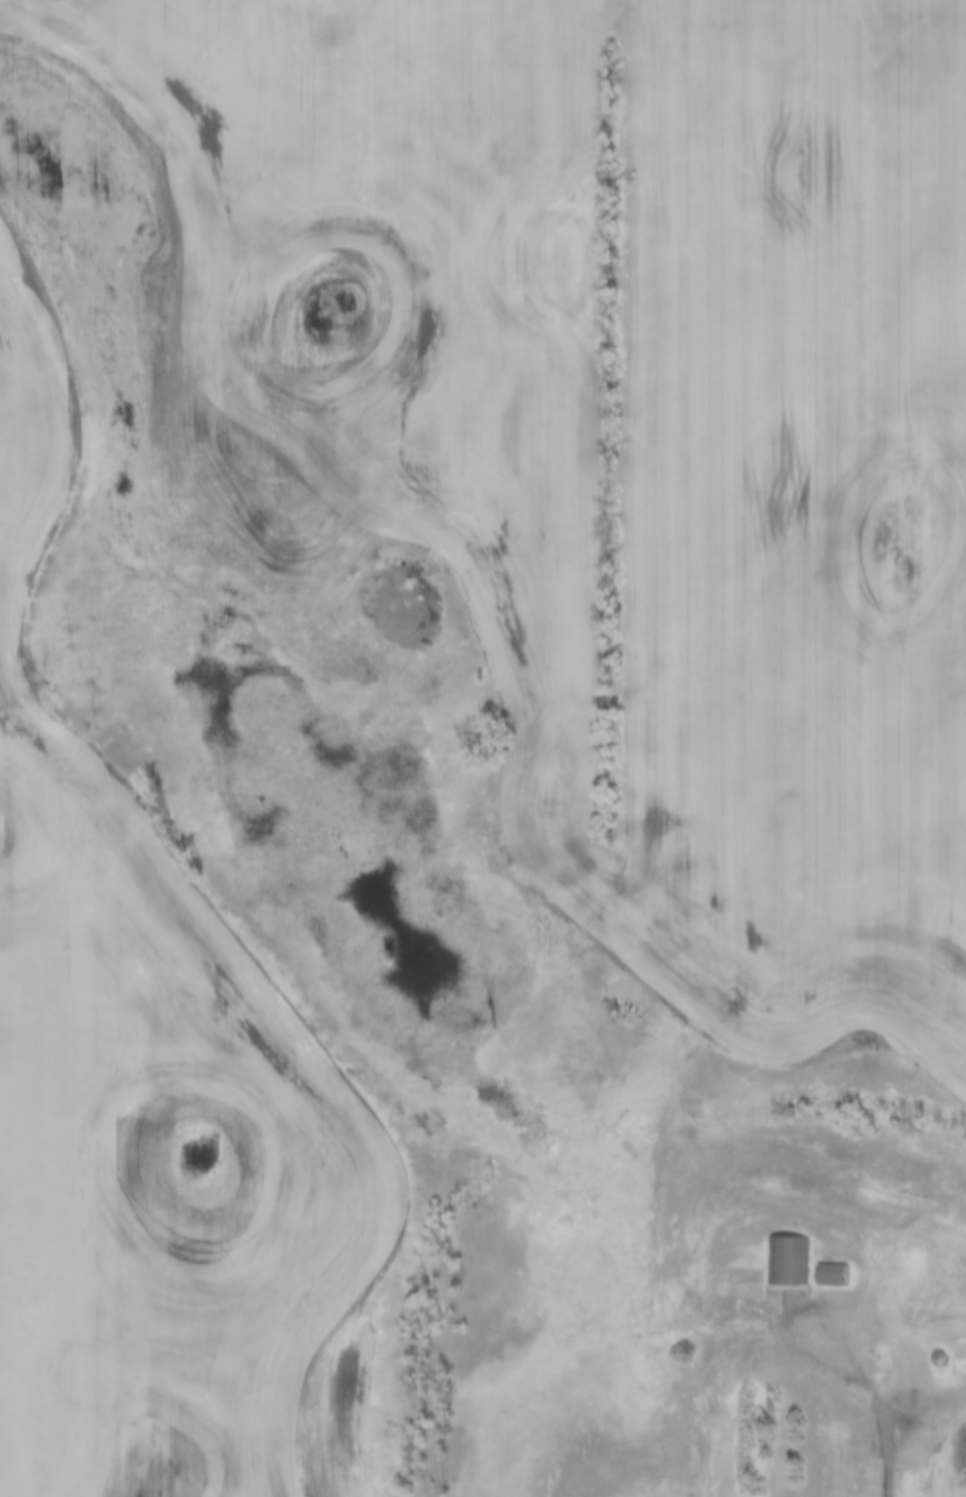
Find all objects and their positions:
building: (786, 1261)
building: (835, 1275)
building: (939, 1359)
road: (885, 1424)

